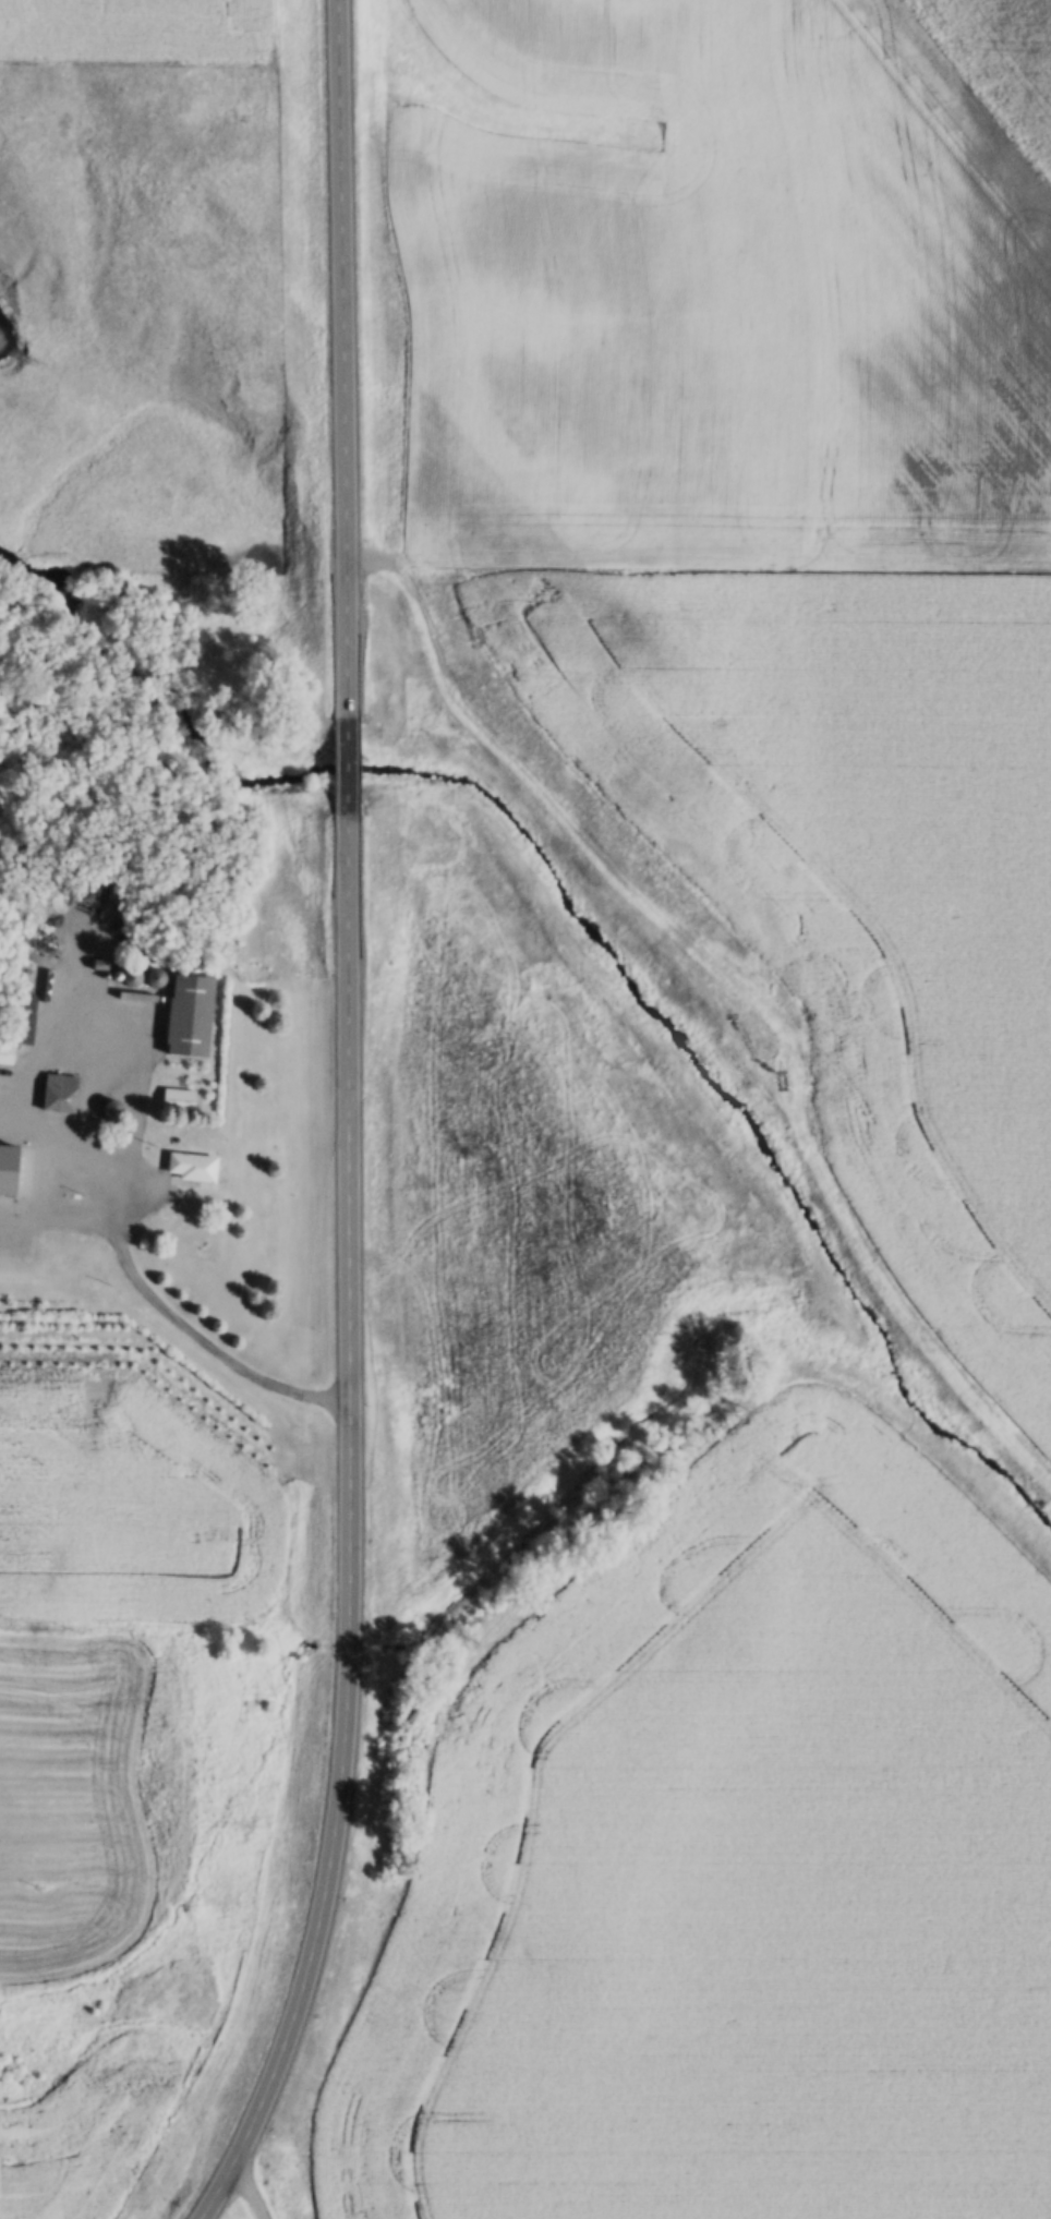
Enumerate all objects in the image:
road: (340, 359)
road: (348, 769)
building: (155, 979)
building: (192, 1016)
building: (28, 1021)
building: (7, 1054)
building: (61, 1095)
building: (9, 1156)
building: (193, 1168)
road: (351, 1529)
road: (329, 2052)

